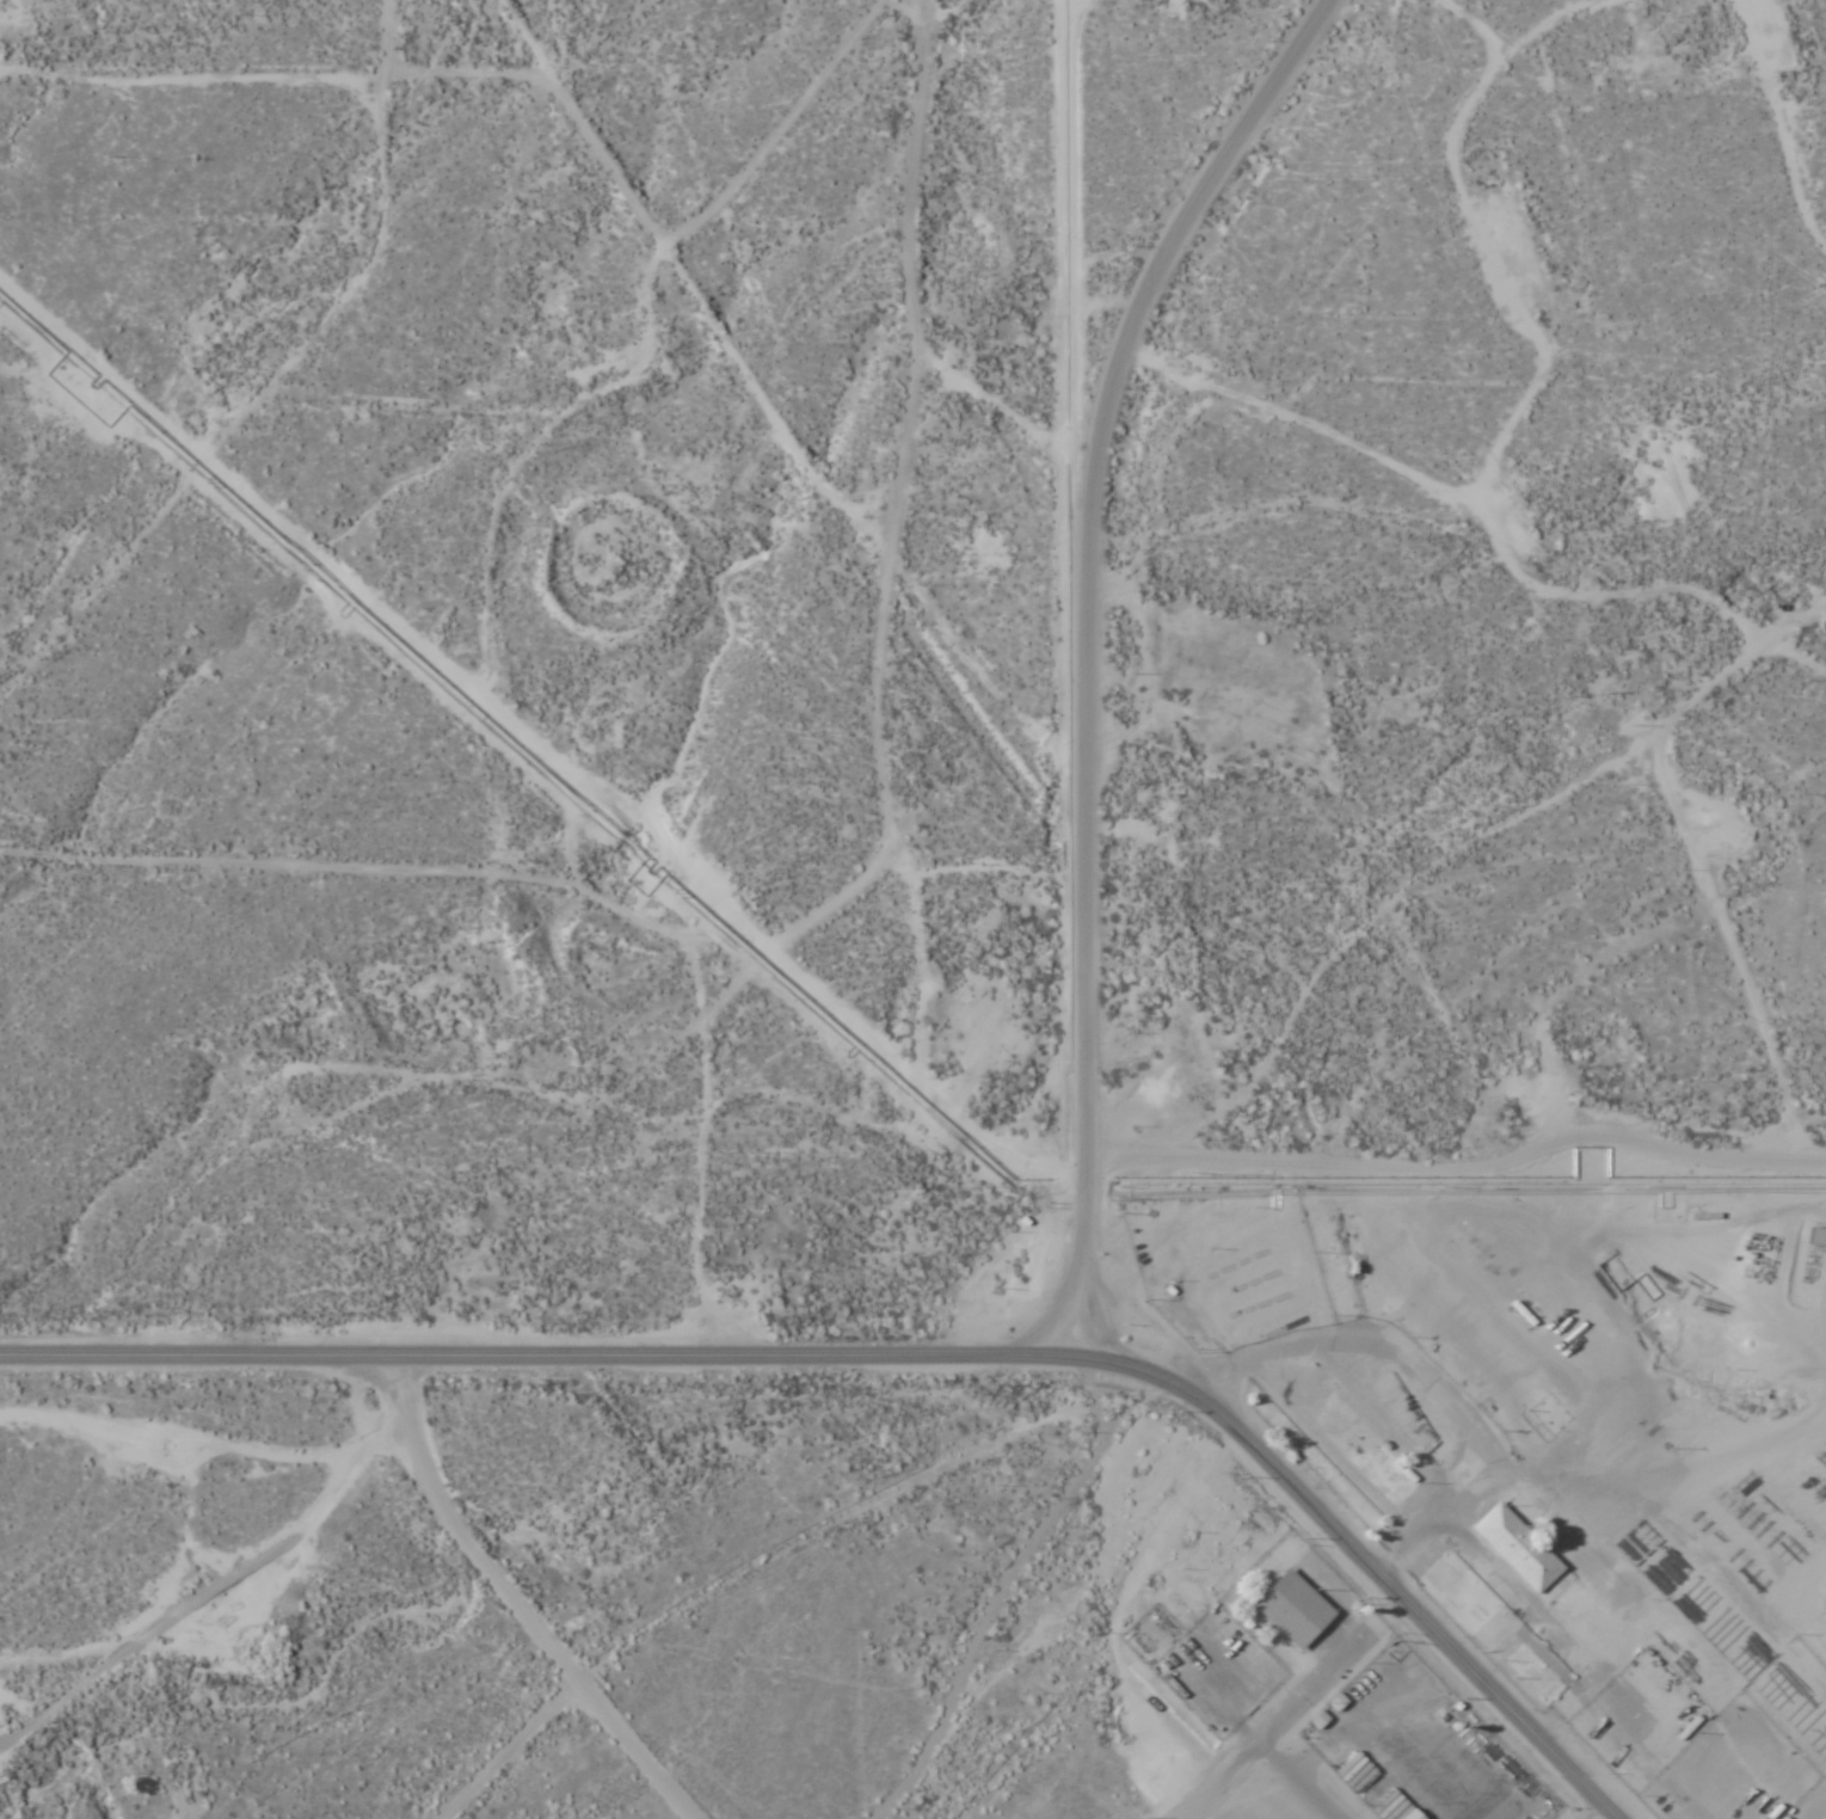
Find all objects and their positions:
road: (1205, 209)
road: (1361, 506)
road: (1173, 843)
road: (862, 881)
road: (1476, 1067)
road: (1420, 1190)
building: (1815, 1236)
building: (1524, 1311)
road: (902, 1357)
building: (1517, 1548)
building: (1296, 1609)
road: (1271, 1735)
building: (1781, 1818)

